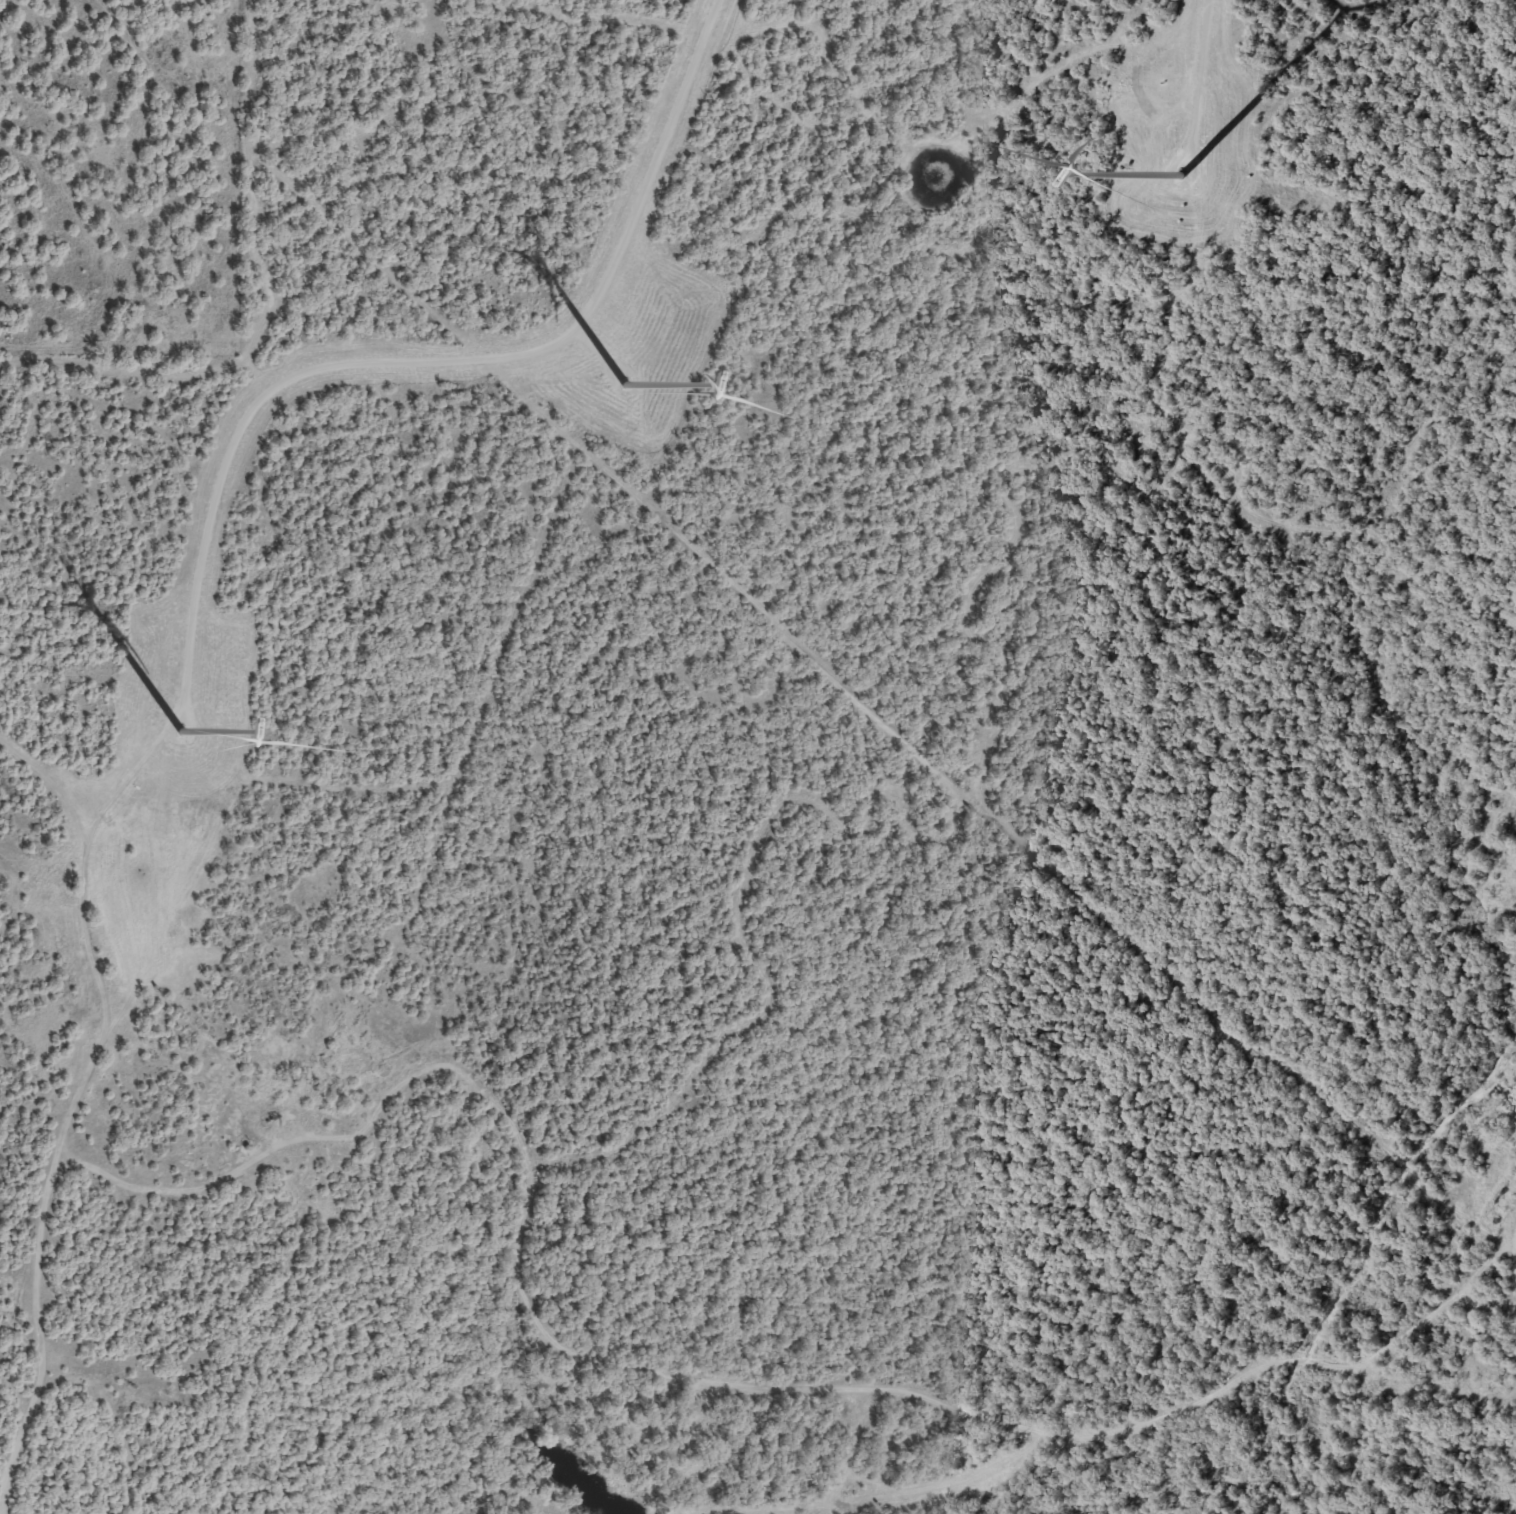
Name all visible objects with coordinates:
wind turbine: (1180, 166)
wind turbine: (623, 382)
wind turbine: (176, 727)

